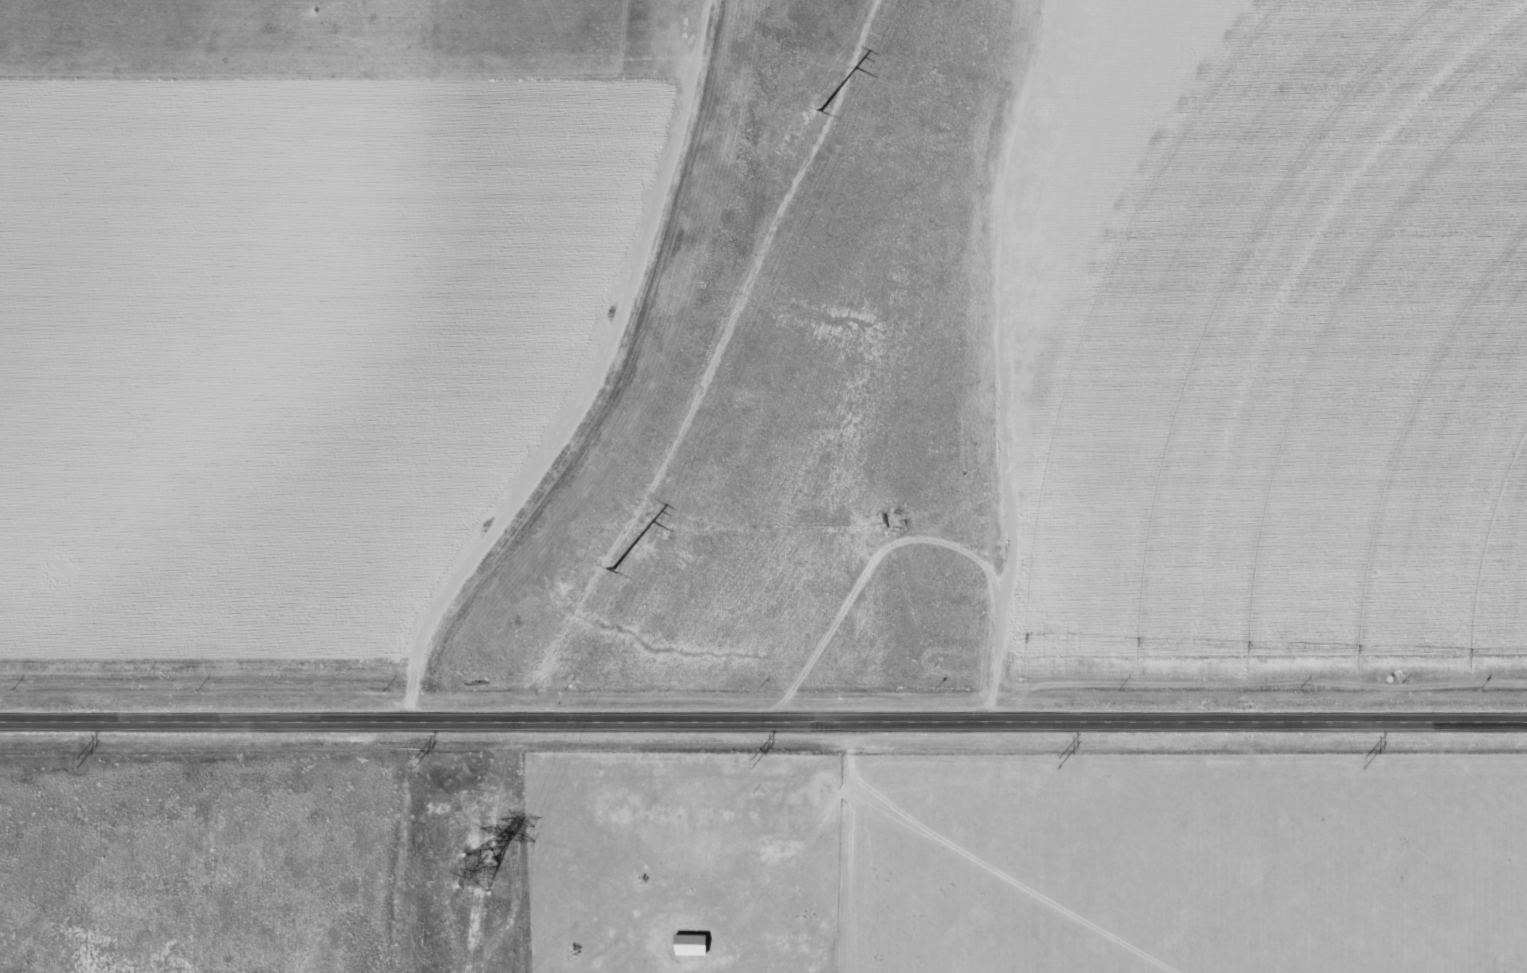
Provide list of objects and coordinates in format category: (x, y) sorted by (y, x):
power tower: (817, 112)
power tower: (614, 569)
road: (763, 723)
power tower: (75, 761)
power tower: (1061, 762)
power tower: (1372, 764)
power tower: (417, 765)
power tower: (754, 765)
power tower: (477, 878)
building: (689, 945)

